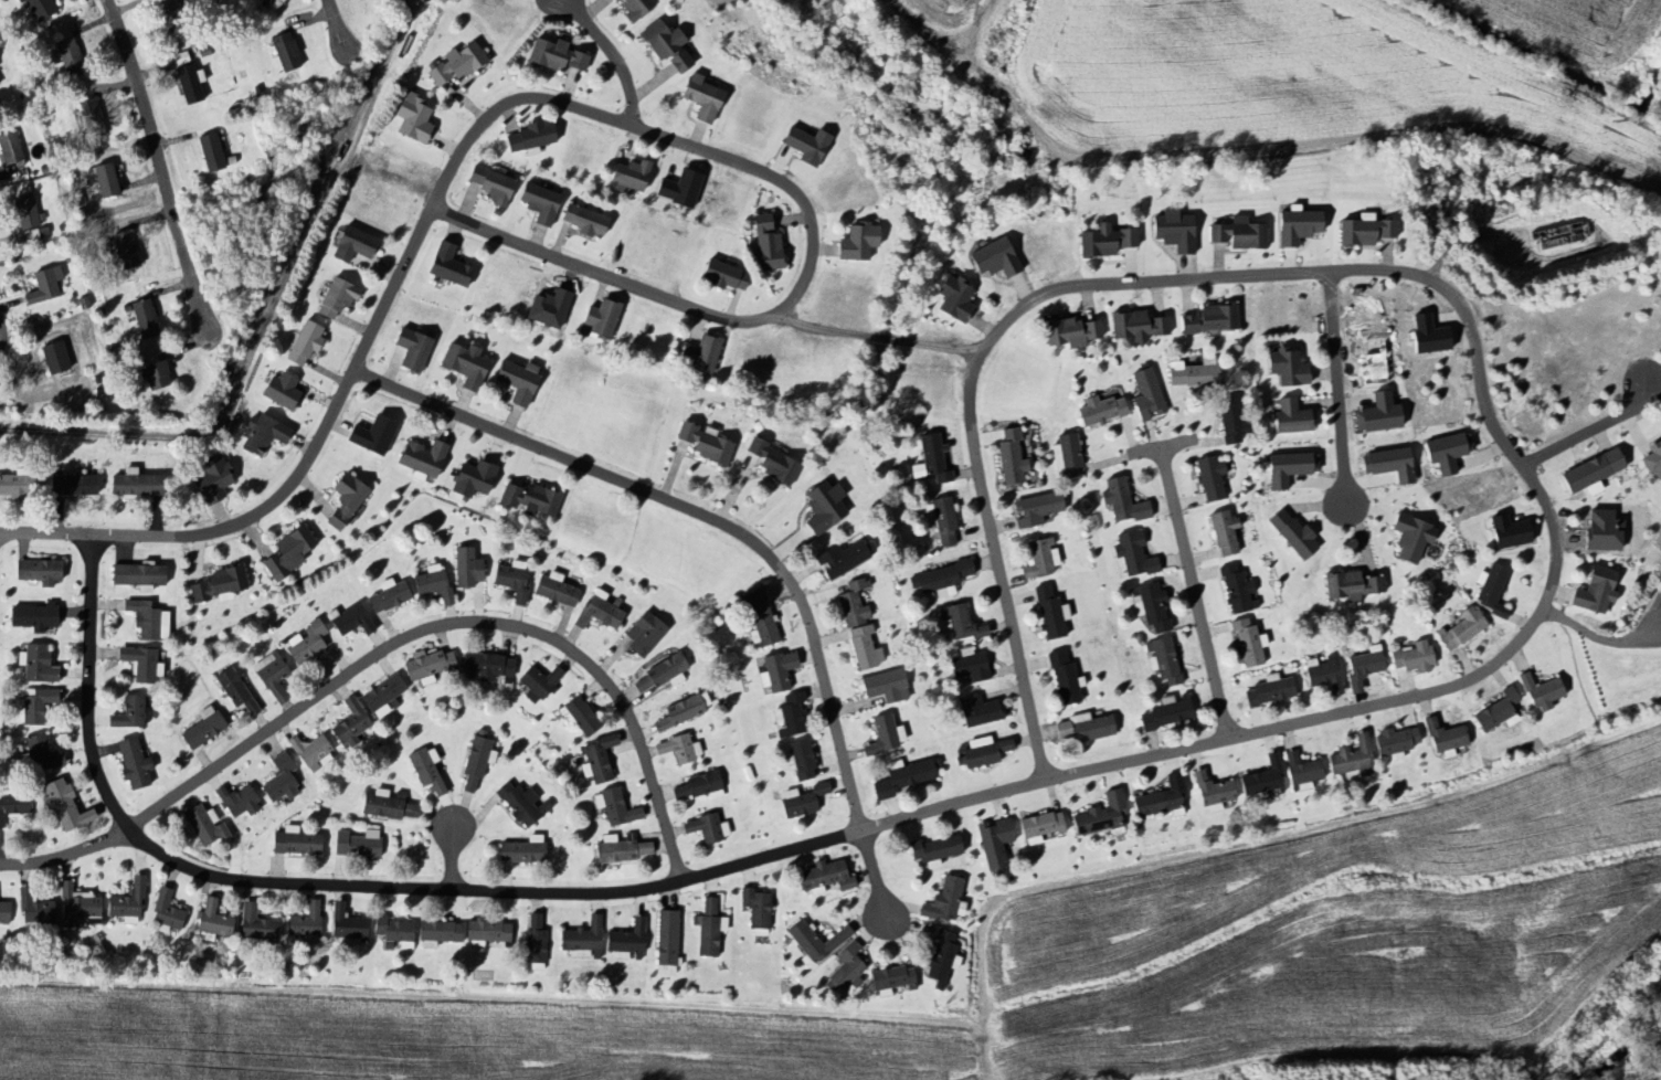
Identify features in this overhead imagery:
building: (262, 2)
building: (161, 7)
building: (38, 9)
building: (635, 10)
road: (337, 24)
building: (665, 46)
building: (283, 52)
road: (615, 53)
building: (557, 56)
building: (67, 57)
building: (453, 65)
building: (188, 83)
building: (699, 97)
road: (585, 108)
building: (89, 118)
building: (411, 118)
building: (529, 138)
building: (804, 146)
building: (9, 150)
building: (209, 152)
road: (160, 163)
building: (628, 174)
building: (103, 180)
building: (488, 186)
building: (538, 203)
building: (25, 213)
building: (583, 221)
building: (1294, 226)
building: (1172, 231)
building: (1363, 231)
building: (1237, 234)
building: (1557, 236)
building: (1103, 241)
building: (856, 243)
building: (764, 244)
building: (350, 245)
building: (124, 250)
building: (992, 260)
building: (447, 266)
building: (722, 276)
building: (43, 285)
building: (334, 298)
building: (952, 299)
building: (599, 318)
building: (141, 319)
building: (1208, 319)
building: (1135, 326)
building: (1070, 332)
road: (879, 336)
building: (303, 343)
building: (410, 350)
building: (699, 354)
building: (52, 358)
building: (463, 363)
building: (1286, 368)
building: (1192, 374)
building: (152, 377)
building: (515, 381)
road: (1340, 389)
building: (278, 391)
building: (1145, 395)
building: (1099, 411)
building: (1377, 413)
building: (1289, 417)
building: (1229, 422)
road: (1591, 428)
building: (260, 435)
building: (370, 436)
building: (702, 445)
building: (1446, 452)
building: (1066, 456)
building: (1009, 457)
building: (421, 460)
building: (930, 460)
building: (1653, 460)
building: (771, 463)
building: (1387, 465)
building: (1284, 469)
building: (1589, 474)
building: (1208, 478)
building: (467, 479)
building: (212, 480)
building: (15, 483)
building: (71, 485)
building: (134, 486)
building: (342, 499)
building: (528, 499)
building: (1121, 501)
building: (821, 508)
building: (1036, 510)
road: (700, 513)
building: (941, 521)
building: (1604, 530)
building: (1506, 532)
road: (46, 533)
building: (1223, 533)
building: (1290, 533)
building: (1408, 538)
building: (286, 553)
building: (1131, 555)
building: (1039, 558)
building: (842, 559)
building: (465, 569)
building: (35, 572)
building: (136, 576)
building: (940, 580)
building: (510, 582)
building: (431, 584)
building: (216, 585)
building: (1350, 586)
road: (1195, 589)
building: (554, 590)
building: (1236, 591)
building: (1491, 591)
building: (1594, 591)
building: (387, 596)
road: (1006, 596)
building: (851, 605)
building: (1149, 606)
building: (597, 611)
road: (1650, 612)
building: (1047, 614)
building: (30, 617)
building: (757, 620)
building: (148, 621)
building: (348, 621)
road: (454, 622)
building: (958, 624)
building: (1461, 629)
road: (1652, 633)
building: (642, 635)
road: (1590, 637)
building: (304, 643)
building: (1248, 643)
building: (861, 647)
building: (1411, 658)
building: (1162, 660)
building: (138, 664)
building: (35, 665)
building: (426, 665)
building: (484, 667)
building: (969, 668)
building: (1362, 669)
building: (775, 673)
building: (660, 674)
building: (269, 675)
building: (1322, 676)
building: (1062, 679)
building: (537, 684)
building: (885, 687)
building: (1268, 691)
building: (233, 692)
building: (1541, 693)
building: (381, 697)
building: (36, 707)
building: (683, 711)
building: (1496, 711)
building: (977, 712)
building: (127, 713)
building: (1166, 714)
building: (576, 717)
building: (787, 717)
building: (349, 724)
building: (1085, 728)
building: (201, 729)
building: (884, 737)
building: (1443, 738)
building: (1394, 743)
building: (679, 749)
building: (309, 752)
building: (40, 754)
building: (982, 754)
road: (1144, 756)
building: (595, 760)
building: (1351, 760)
building: (477, 761)
building: (797, 761)
building: (130, 764)
building: (426, 770)
building: (1301, 772)
building: (901, 779)
building: (1262, 779)
building: (278, 780)
building: (698, 787)
building: (1213, 793)
building: (1161, 800)
building: (800, 801)
building: (237, 802)
building: (519, 804)
building: (387, 805)
building: (64, 806)
building: (11, 807)
building: (614, 808)
building: (1100, 815)
building: (201, 826)
building: (1038, 827)
building: (706, 828)
building: (293, 843)
building: (993, 844)
building: (356, 845)
building: (933, 851)
building: (520, 853)
road: (67, 854)
road: (453, 854)
road: (874, 871)
building: (822, 878)
building: (945, 901)
building: (126, 903)
building: (75, 906)
building: (754, 911)
building: (2, 912)
building: (33, 912)
building: (165, 913)
building: (212, 922)
building: (255, 924)
building: (305, 924)
building: (347, 928)
building: (707, 929)
building: (394, 932)
building: (438, 934)
building: (485, 934)
building: (581, 939)
building: (533, 941)
building: (623, 941)
building: (665, 941)
building: (814, 941)
building: (939, 959)
building: (847, 970)
building: (891, 981)

